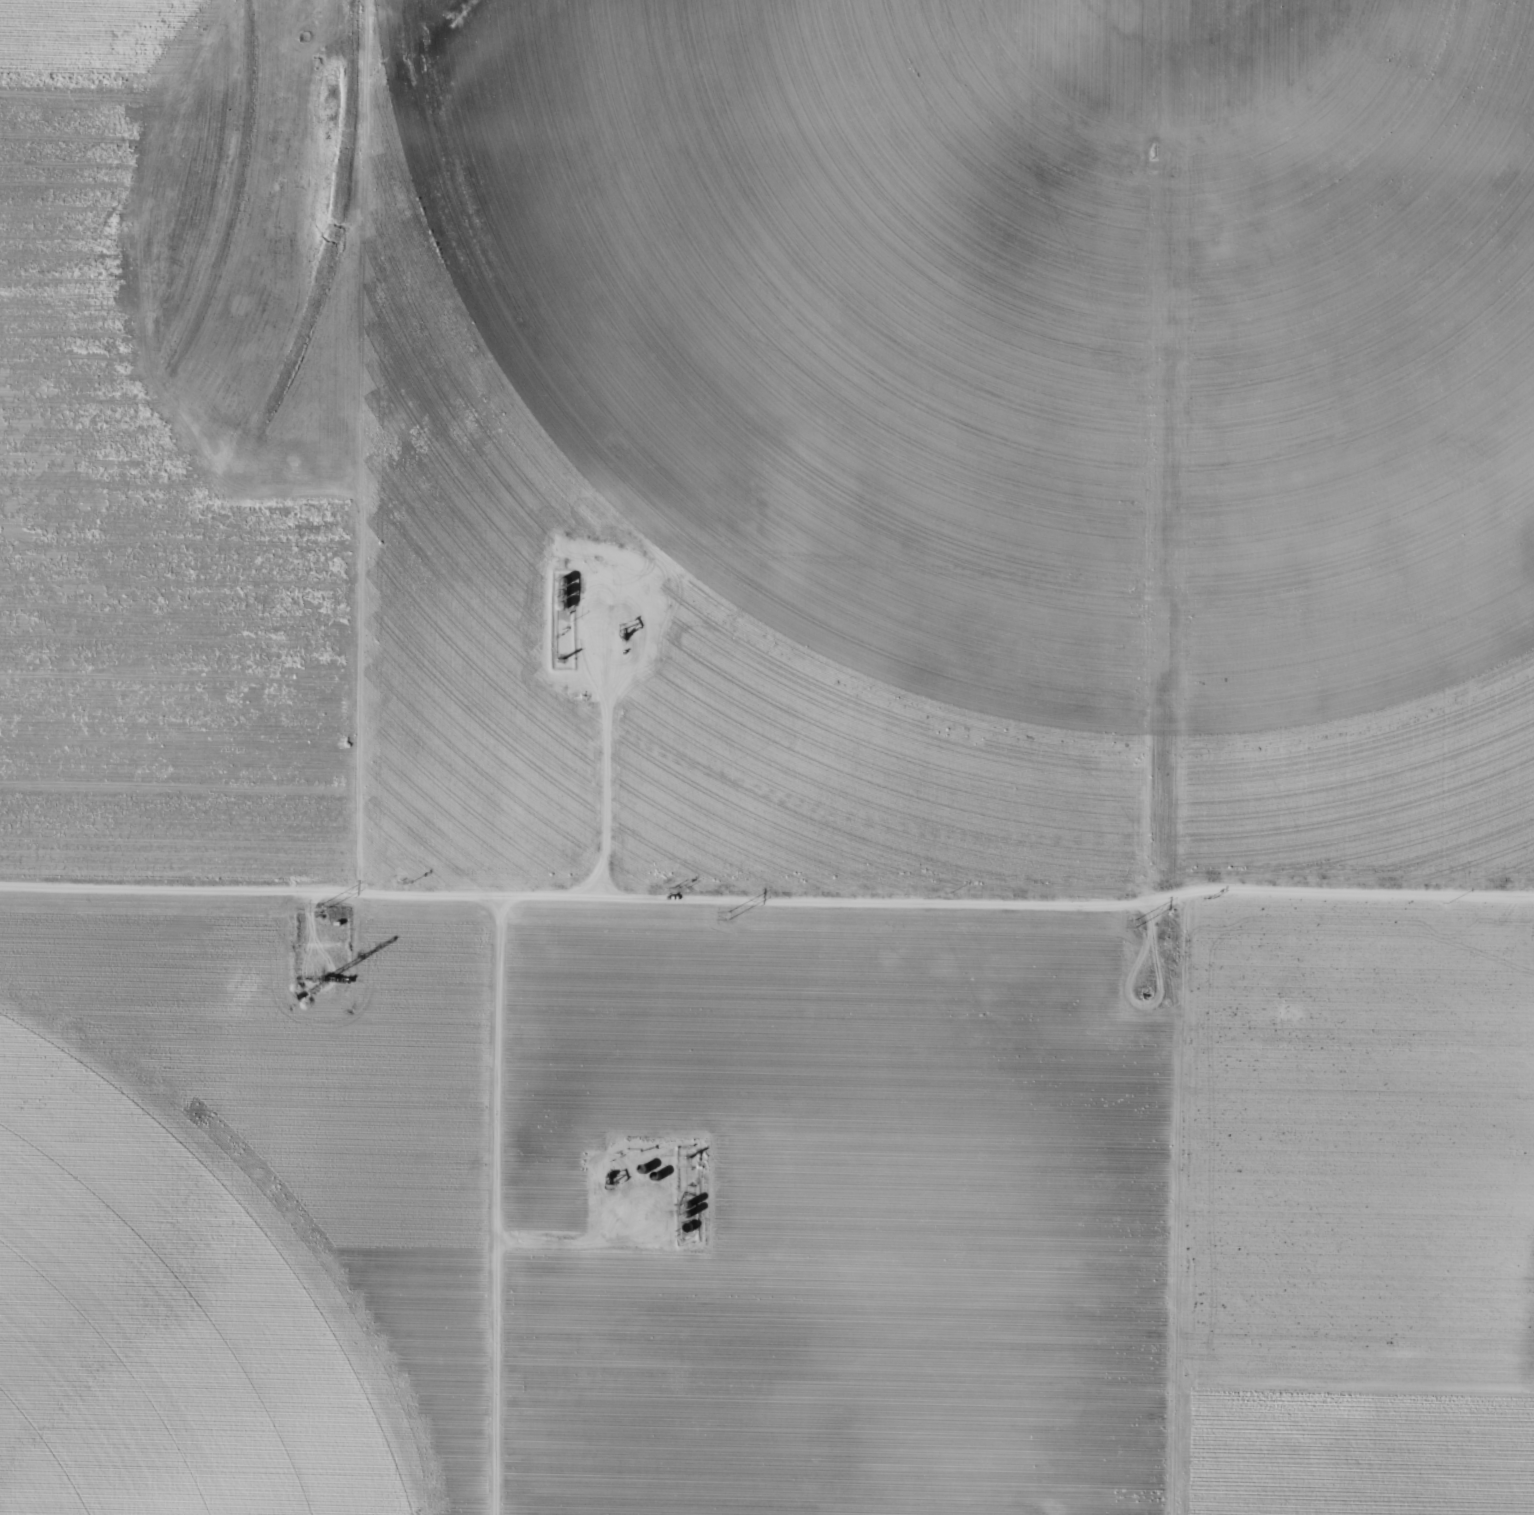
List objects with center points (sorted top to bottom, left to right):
road: (1138, 98)
road: (955, 192)
road: (367, 453)
road: (606, 785)
road: (1198, 856)
road: (766, 918)
road: (498, 1214)

